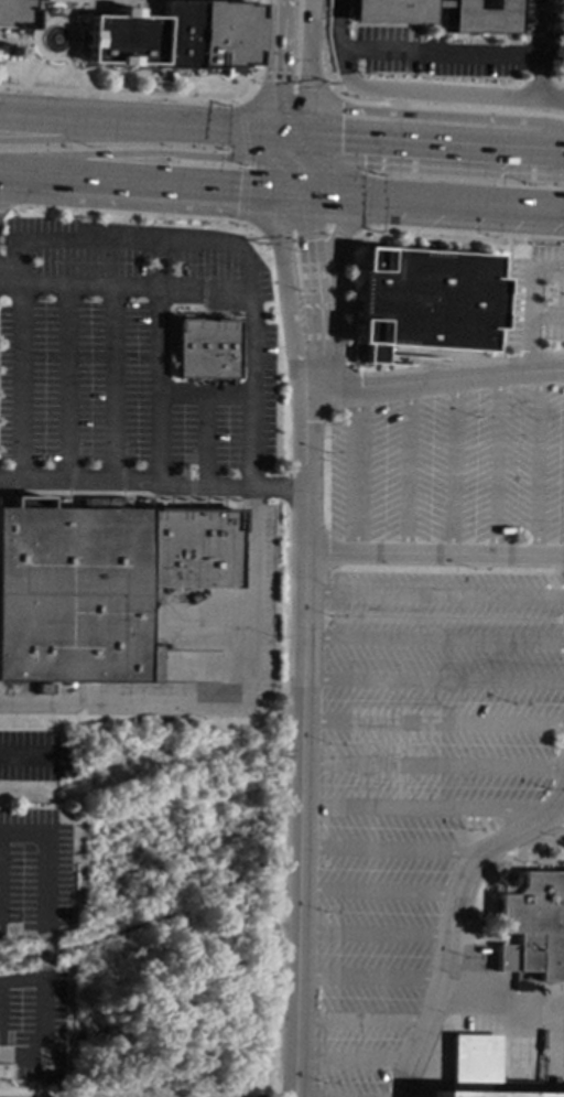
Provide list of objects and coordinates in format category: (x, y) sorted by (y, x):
road: (433, 3)
road: (39, 10)
road: (70, 10)
road: (98, 10)
road: (144, 11)
building: (13, 13)
building: (384, 13)
road: (48, 19)
road: (432, 30)
building: (173, 35)
road: (275, 42)
road: (306, 43)
road: (535, 49)
road: (436, 54)
road: (33, 71)
road: (73, 73)
traffic signals: (275, 79)
road: (284, 85)
road: (300, 85)
road: (264, 86)
road: (316, 87)
road: (411, 92)
road: (172, 97)
road: (443, 106)
road: (275, 109)
road: (306, 110)
road: (82, 118)
road: (220, 128)
road: (242, 131)
road: (292, 135)
road: (82, 136)
traffic signals: (340, 139)
road: (435, 143)
road: (276, 144)
road: (294, 148)
road: (138, 152)
traffic signals: (224, 157)
road: (307, 163)
road: (278, 173)
road: (139, 181)
traffic signals: (239, 189)
road: (293, 191)
road: (245, 193)
road: (435, 198)
road: (4, 204)
road: (562, 206)
road: (141, 213)
road: (393, 226)
road: (339, 234)
road: (296, 235)
road: (131, 240)
traffic signals: (308, 240)
road: (335, 261)
road: (531, 273)
road: (224, 286)
road: (286, 291)
road: (313, 291)
parking lot: (534, 297)
building: (422, 300)
road: (546, 313)
road: (527, 342)
parking lot: (128, 346)
building: (204, 348)
road: (434, 379)
road: (20, 384)
road: (66, 384)
road: (110, 385)
road: (158, 385)
road: (203, 394)
road: (203, 439)
road: (536, 463)
road: (493, 464)
road: (452, 465)
road: (404, 467)
parking lot: (451, 467)
road: (355, 470)
road: (152, 484)
road: (433, 553)
building: (101, 582)
road: (433, 593)
road: (433, 638)
road: (432, 680)
road: (230, 701)
road: (432, 722)
road: (300, 743)
road: (432, 764)
parking lot: (414, 781)
road: (424, 807)
road: (388, 850)
road: (376, 891)
road: (449, 912)
building: (530, 923)
road: (42, 927)
road: (371, 934)
road: (367, 976)
road: (360, 1019)
road: (351, 1060)
building: (479, 1071)
road: (52, 1078)

